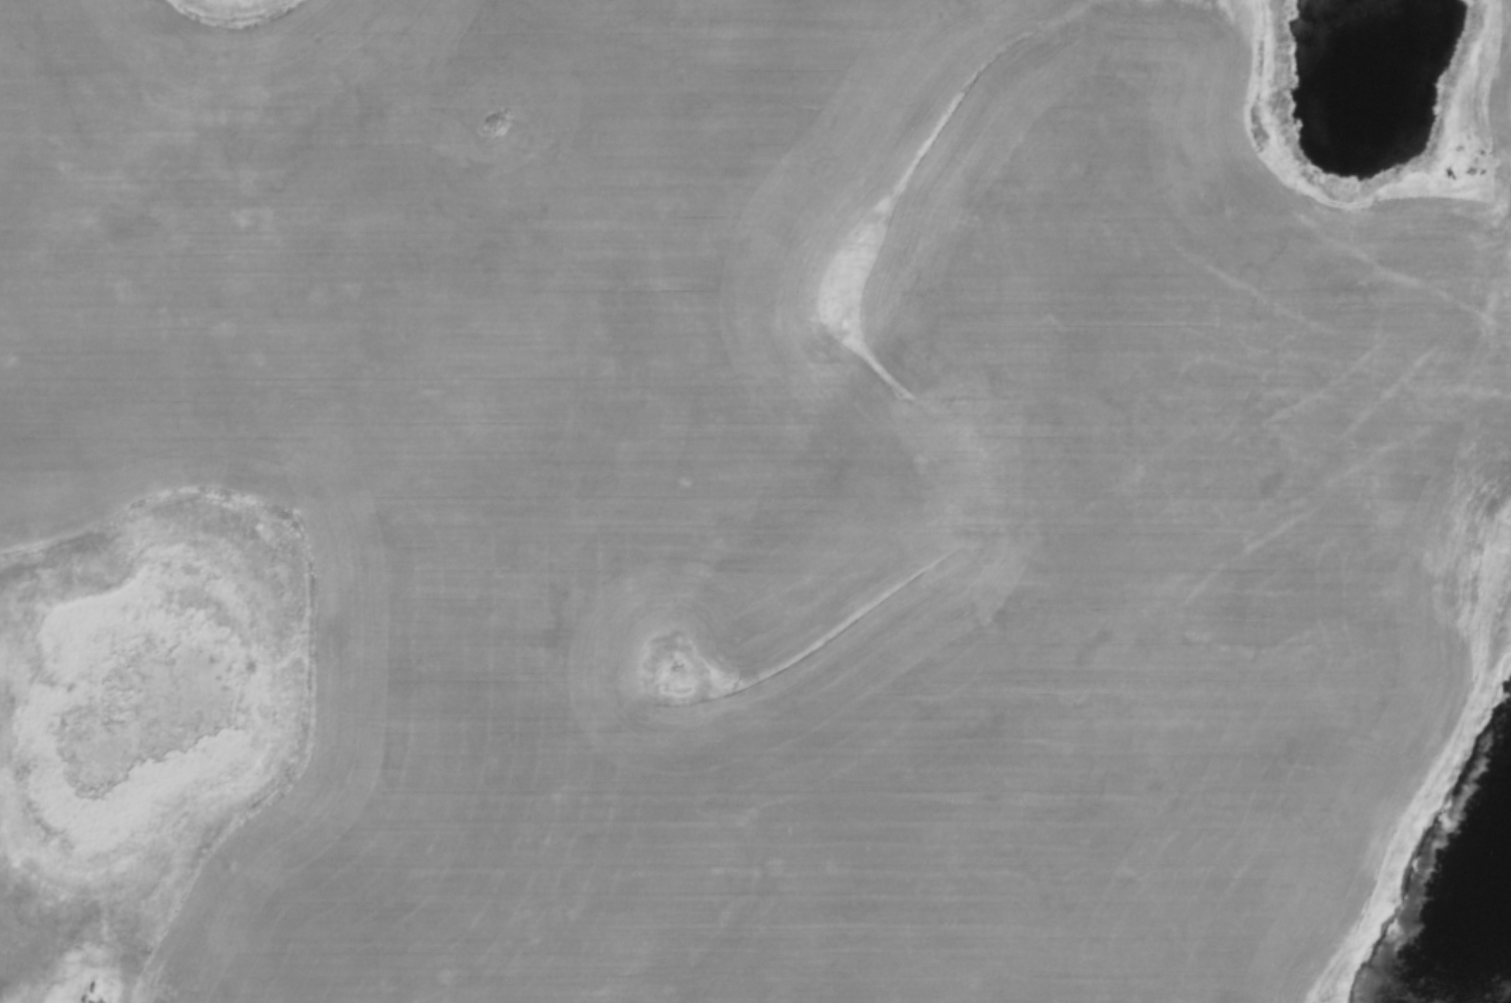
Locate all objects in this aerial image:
road: (16, 974)

